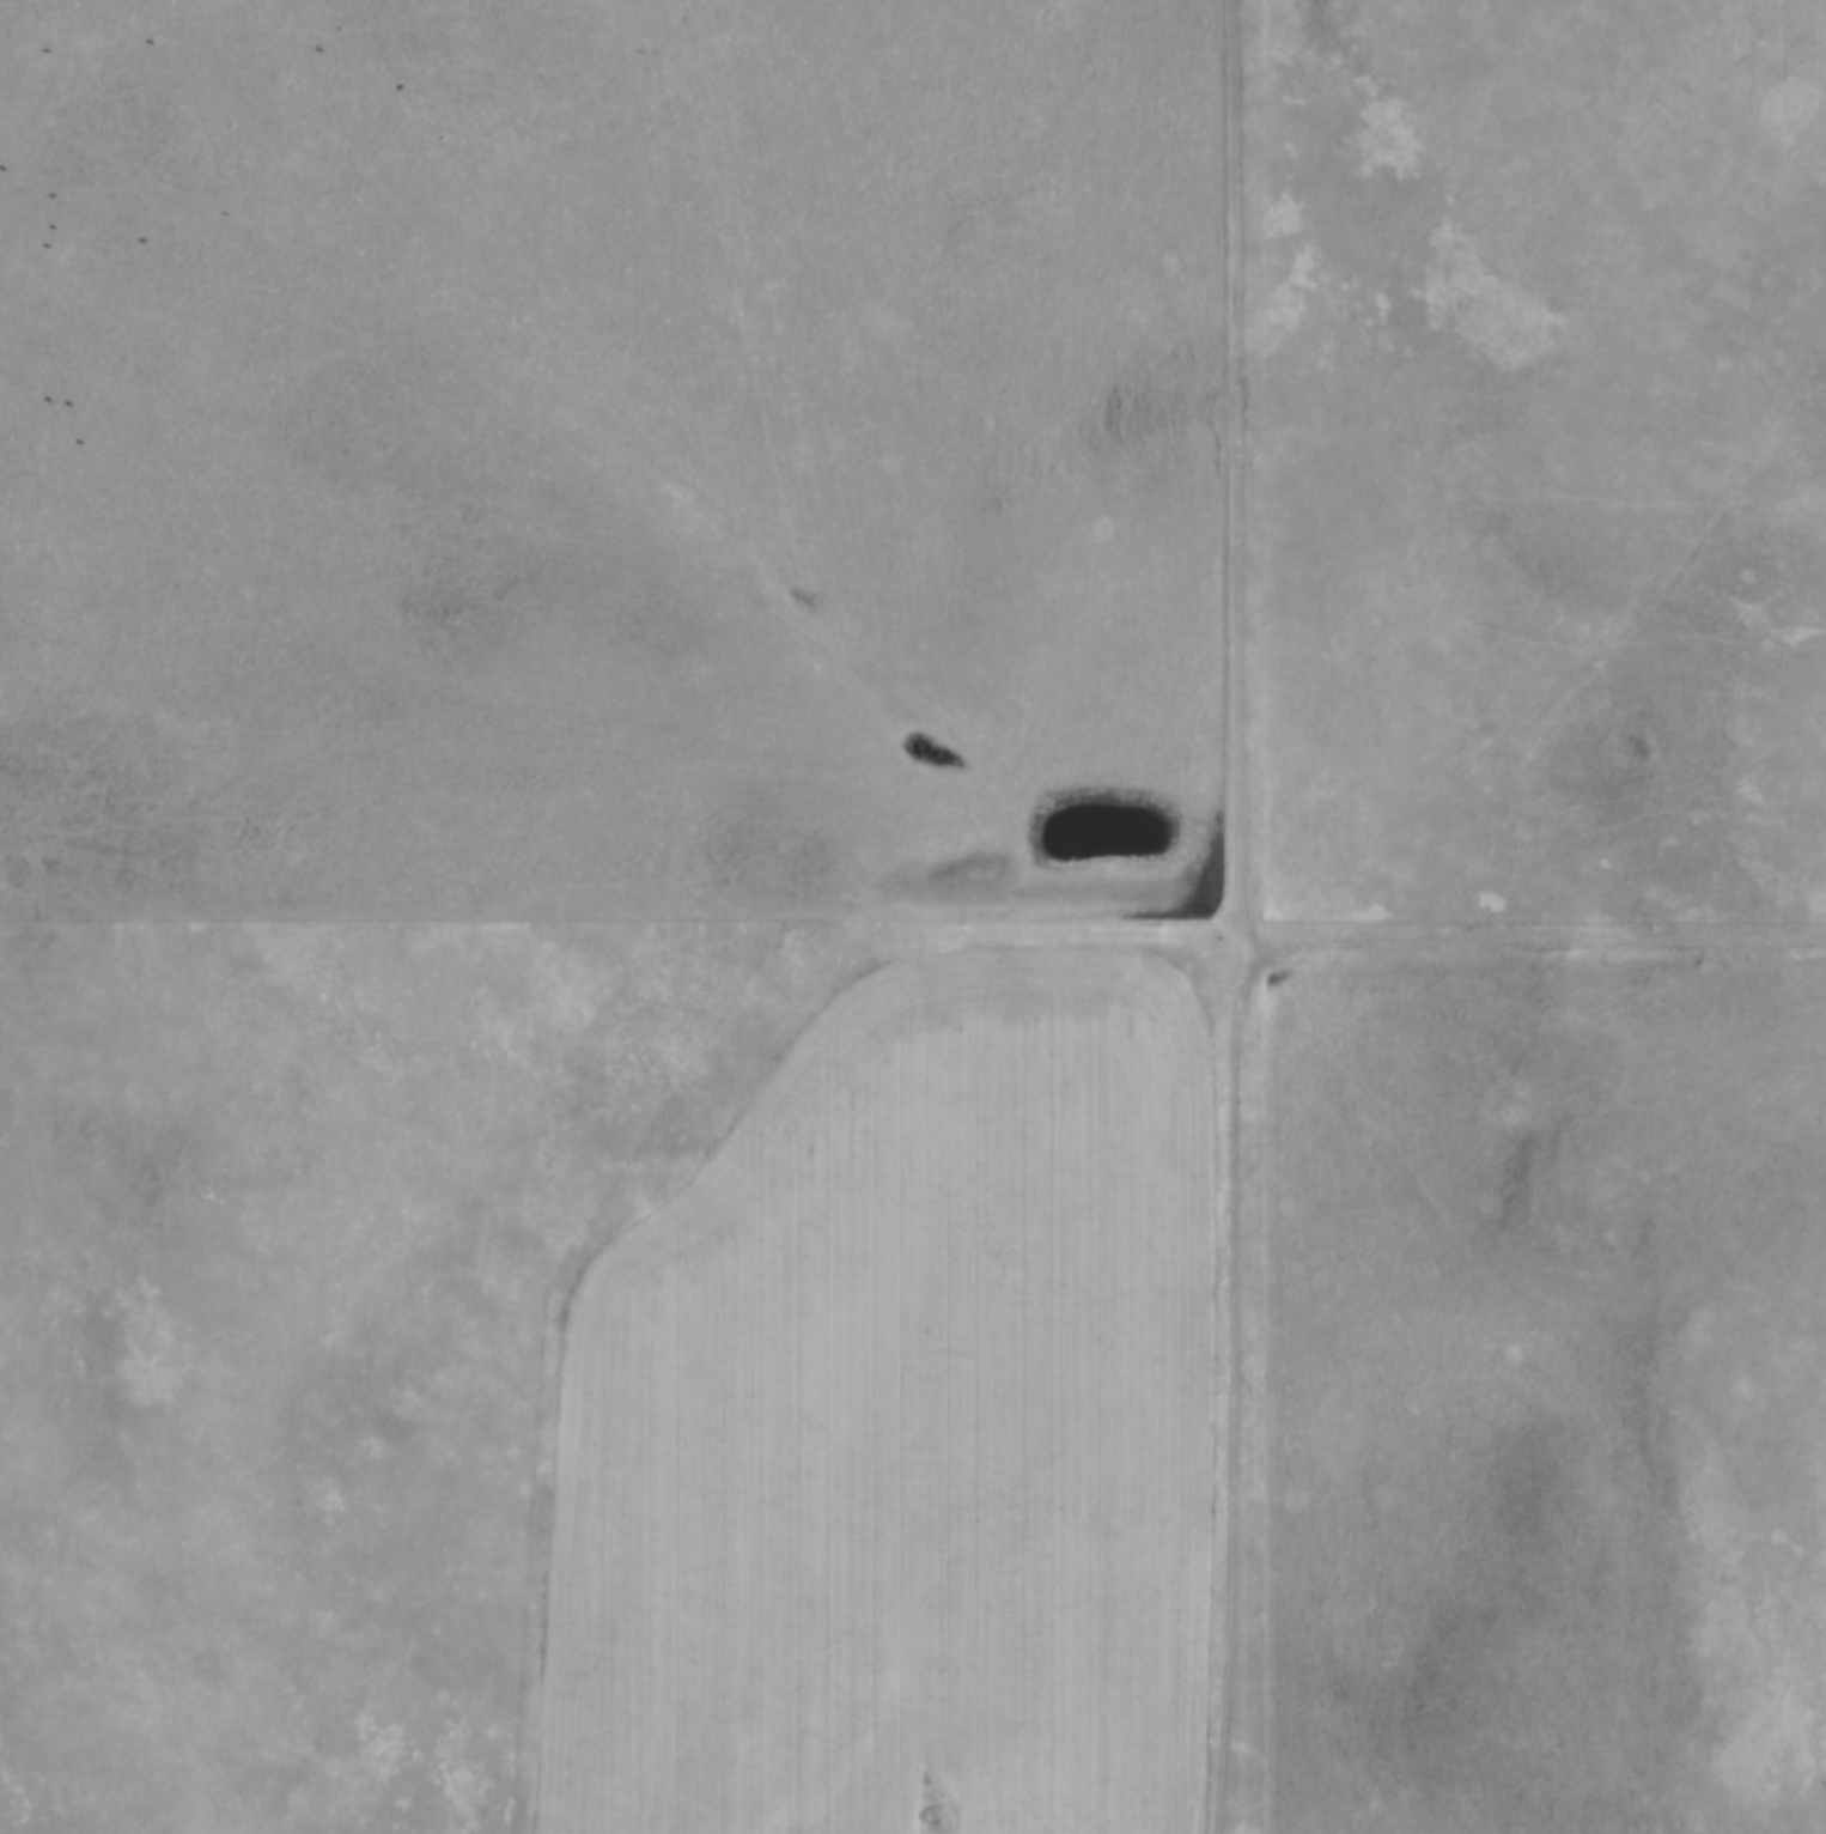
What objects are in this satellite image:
road: (1247, 767)

